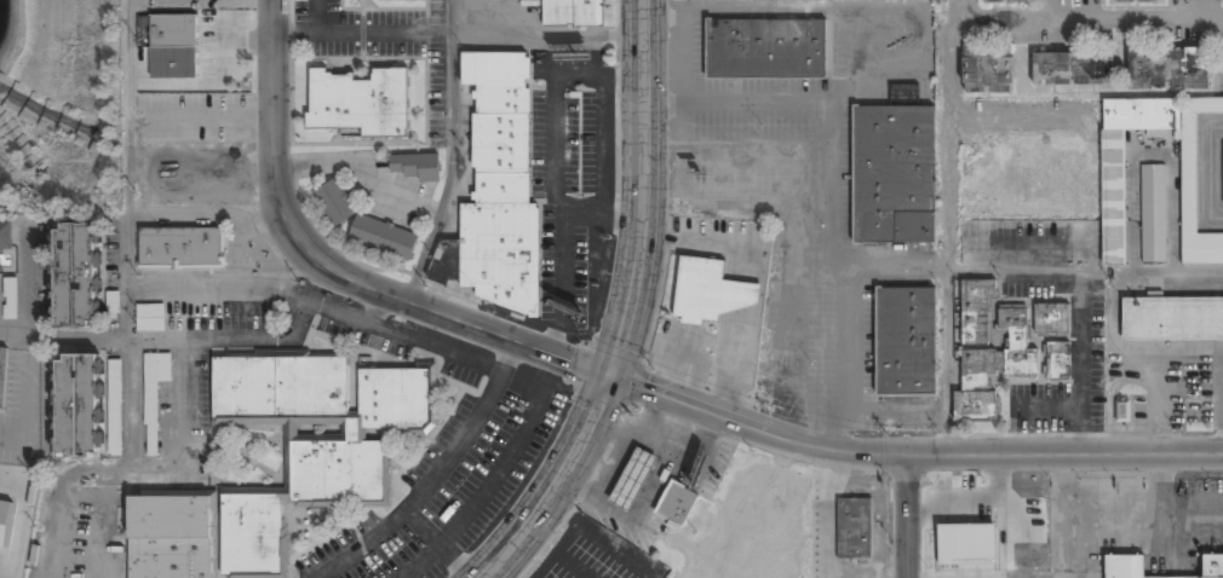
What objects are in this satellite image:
building: (395, 0)
building: (774, 0)
building: (1006, 1)
building: (1137, 1)
building: (573, 13)
road: (316, 17)
building: (173, 31)
road: (459, 36)
building: (764, 50)
building: (1169, 68)
building: (1074, 70)
building: (987, 71)
road: (555, 92)
building: (903, 92)
building: (361, 102)
building: (1222, 144)
road: (452, 154)
building: (415, 167)
building: (894, 175)
building: (1113, 184)
building: (496, 186)
building: (335, 203)
building: (1153, 214)
building: (6, 236)
building: (384, 238)
building: (182, 248)
road: (561, 255)
building: (76, 276)
building: (708, 291)
building: (11, 300)
building: (113, 305)
road: (633, 310)
building: (150, 318)
building: (1171, 319)
building: (1051, 320)
building: (905, 341)
building: (988, 351)
building: (1058, 363)
building: (4, 376)
traffic signals: (614, 376)
road: (626, 381)
building: (154, 397)
building: (77, 406)
building: (115, 408)
building: (1124, 412)
building: (311, 443)
building: (633, 479)
gas station: (633, 479)
building: (676, 502)
road: (901, 515)
building: (5, 525)
building: (854, 528)
building: (171, 536)
building: (966, 544)
building: (1213, 566)
building: (1125, 567)

